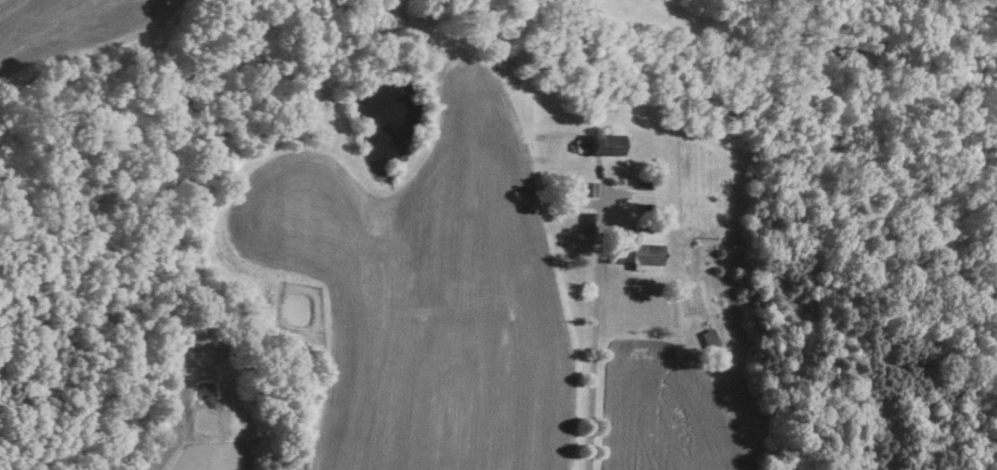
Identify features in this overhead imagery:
building: (634, 248)
building: (707, 341)

